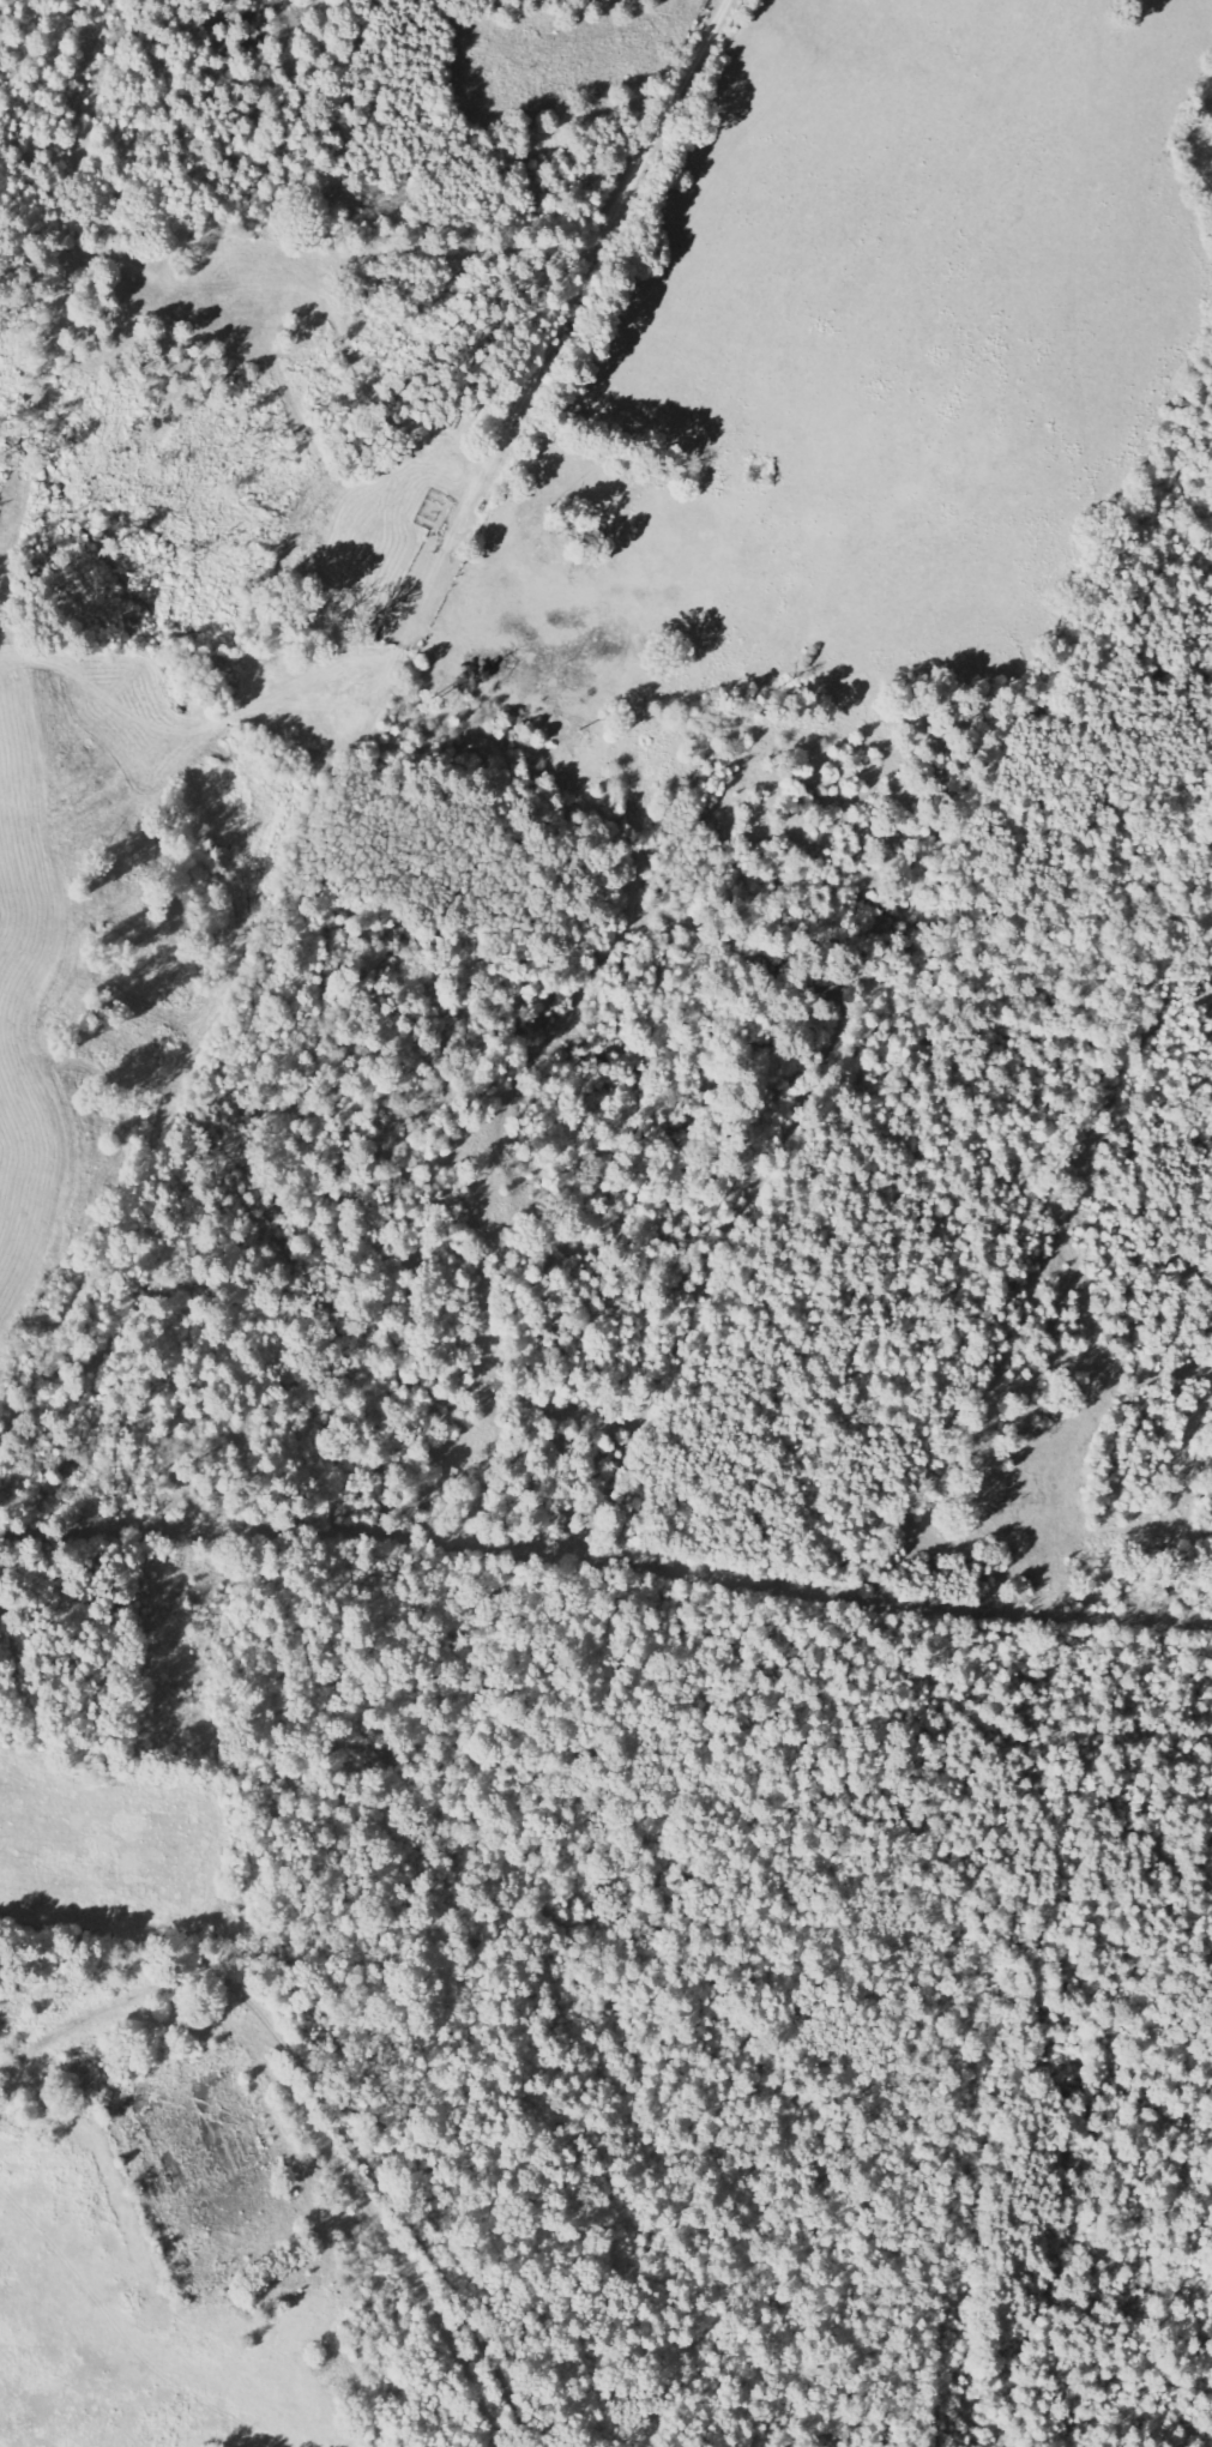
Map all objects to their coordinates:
road: (328, 2102)

